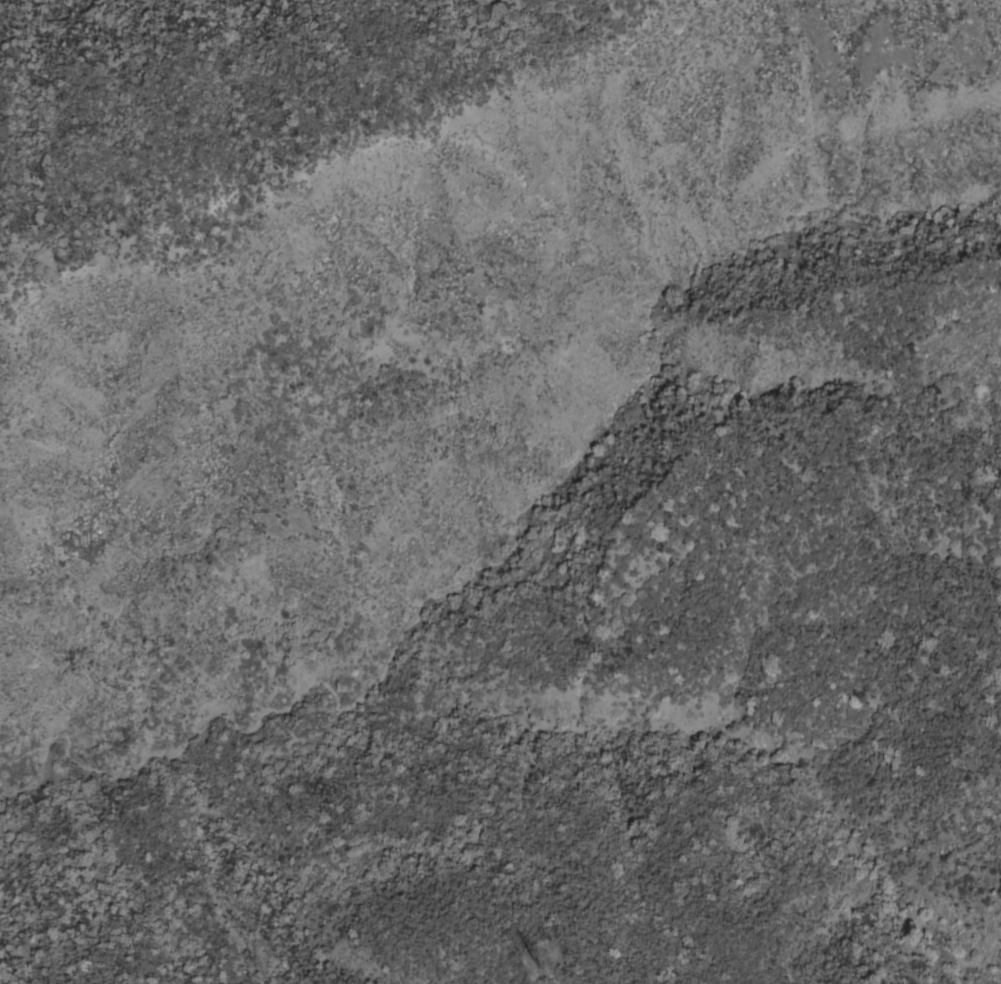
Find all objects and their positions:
power tower: (561, 939)

